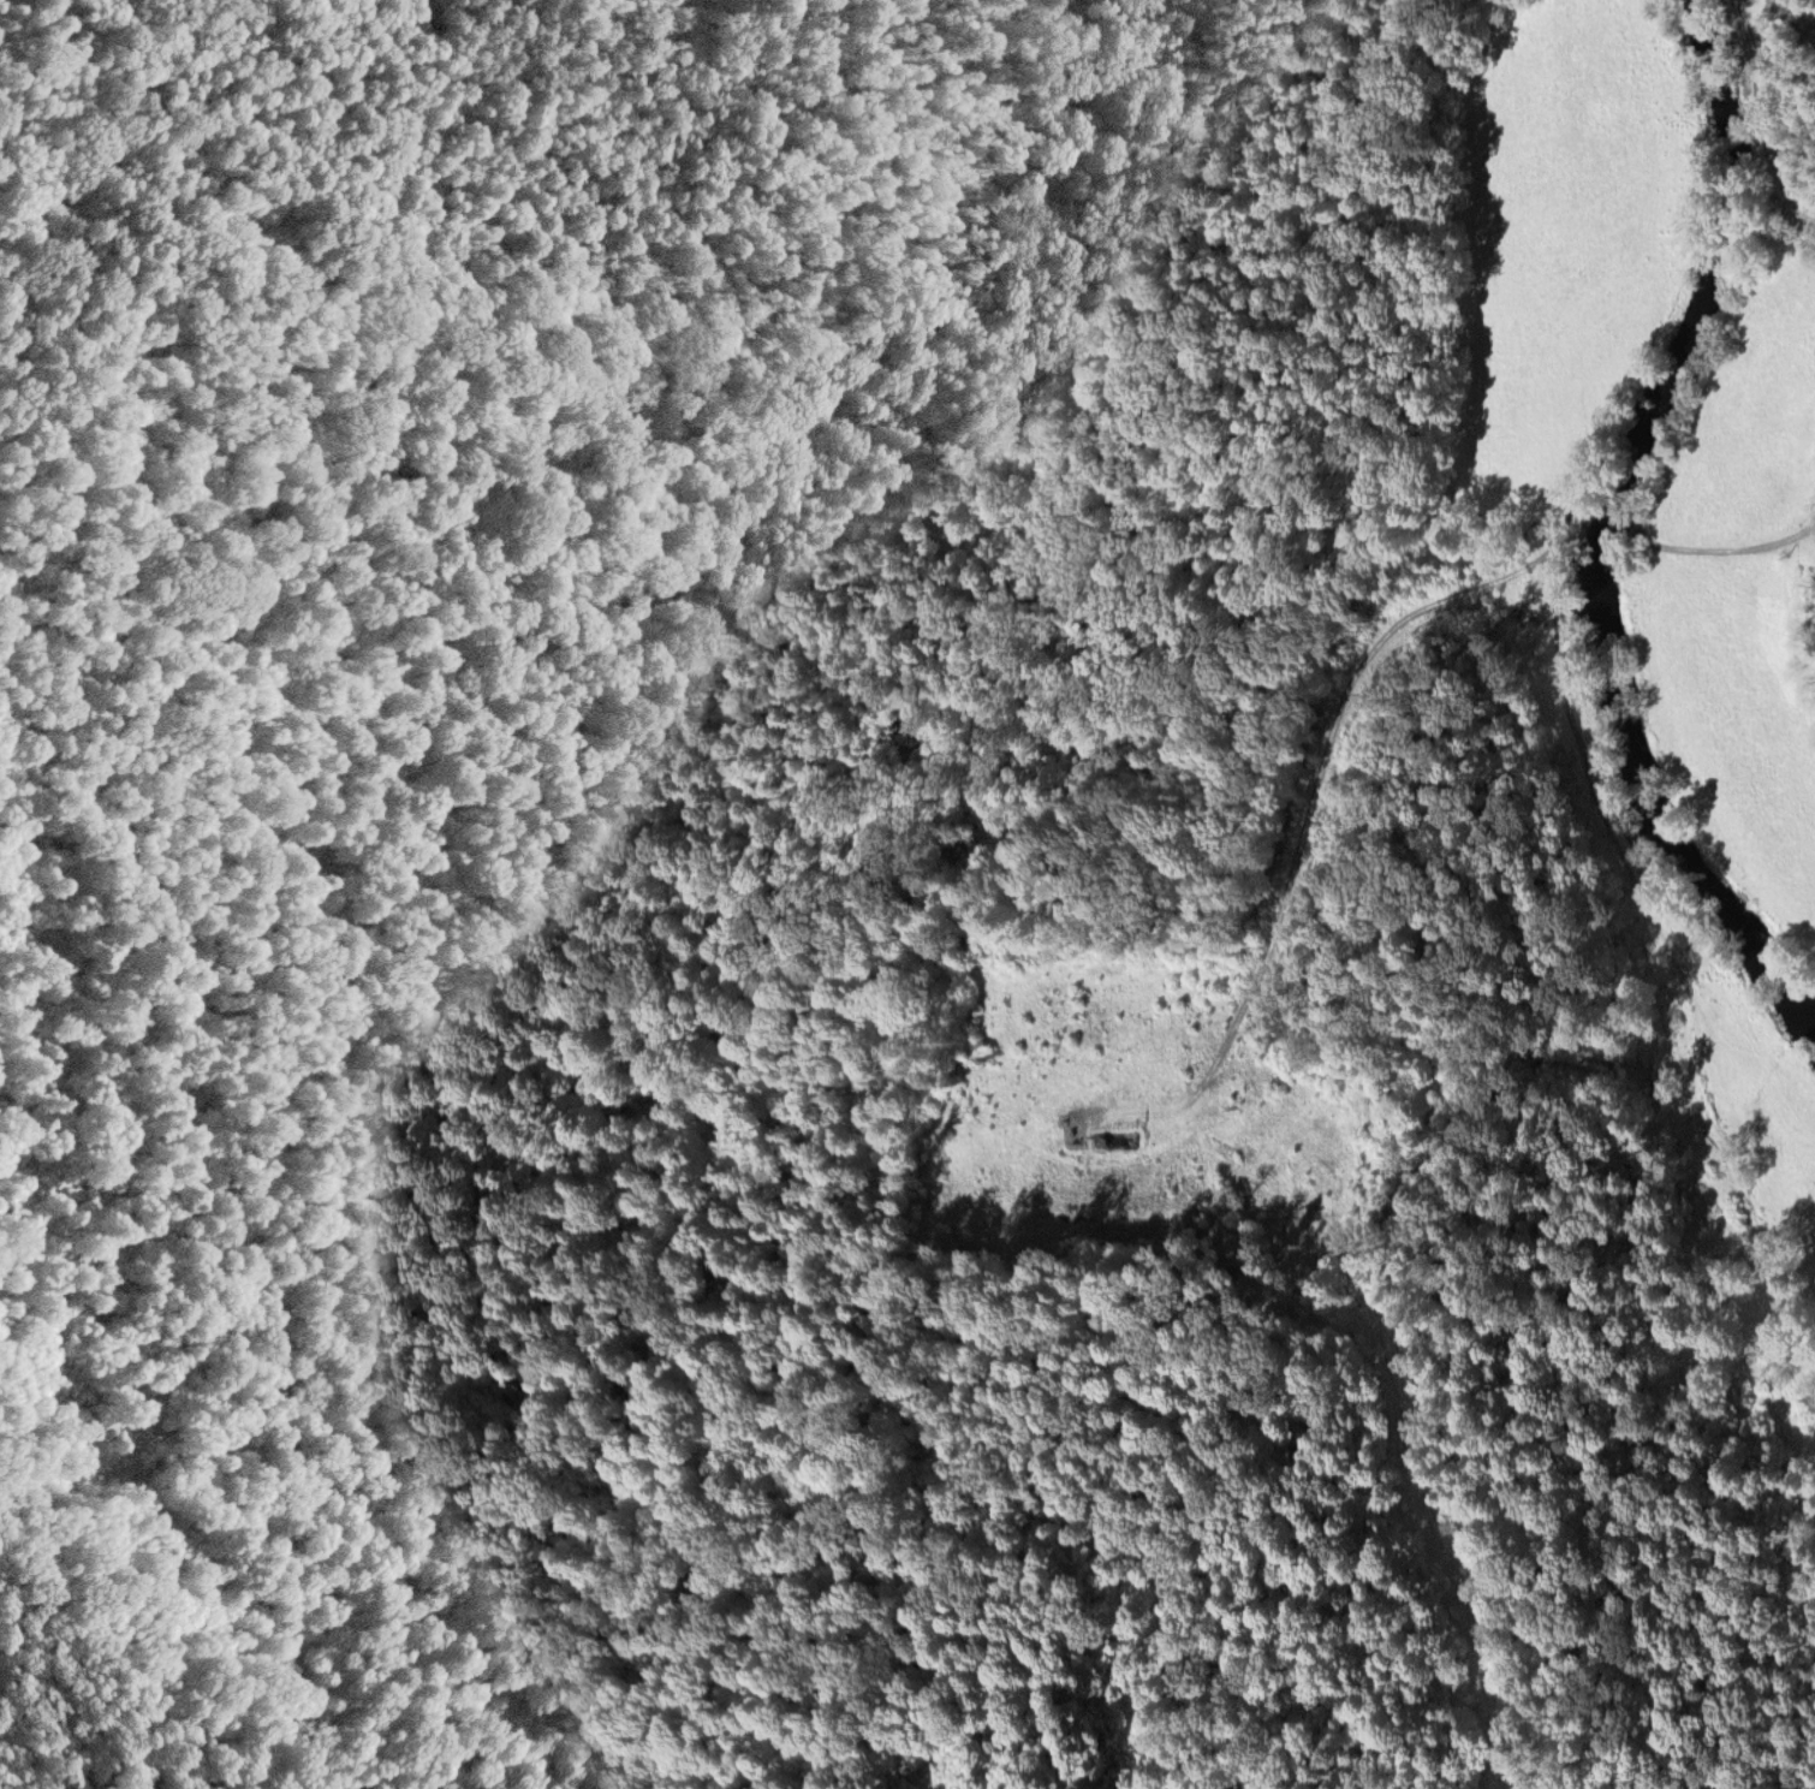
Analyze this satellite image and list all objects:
road: (1767, 113)
river: (1613, 516)
road: (1609, 528)
road: (1727, 546)
road: (1307, 812)
road: (1399, 1403)

